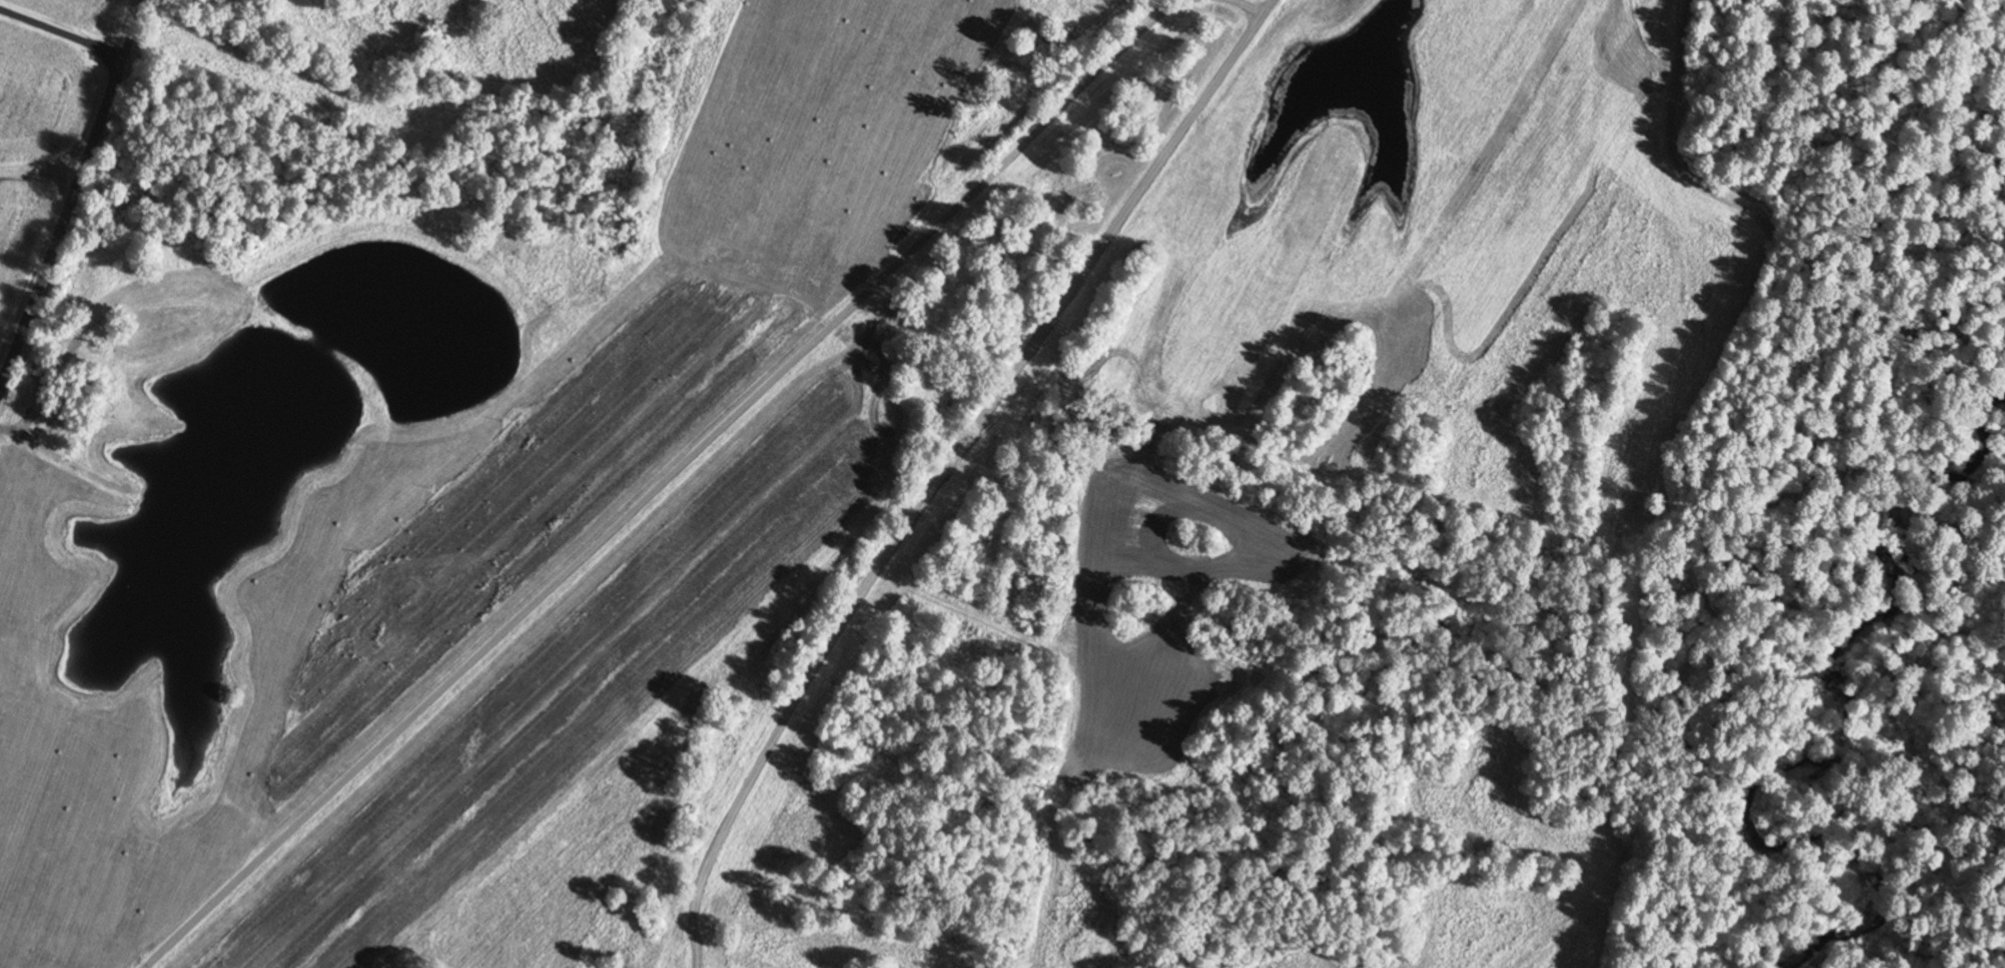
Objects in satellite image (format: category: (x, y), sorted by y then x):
road: (1250, 7)
road: (67, 212)
road: (947, 466)
road: (663, 480)

